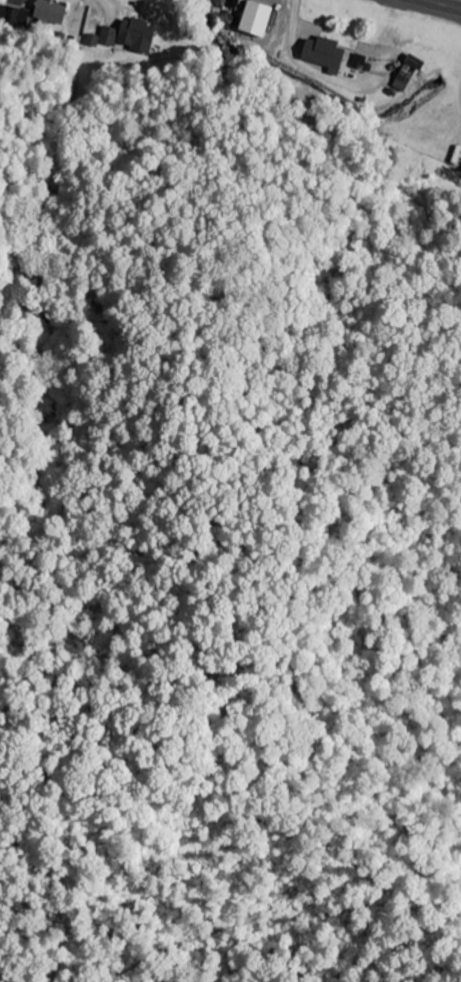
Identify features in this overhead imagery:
road: (444, 4)
building: (49, 12)
building: (254, 19)
building: (124, 36)
building: (322, 53)
building: (358, 62)
building: (406, 74)

